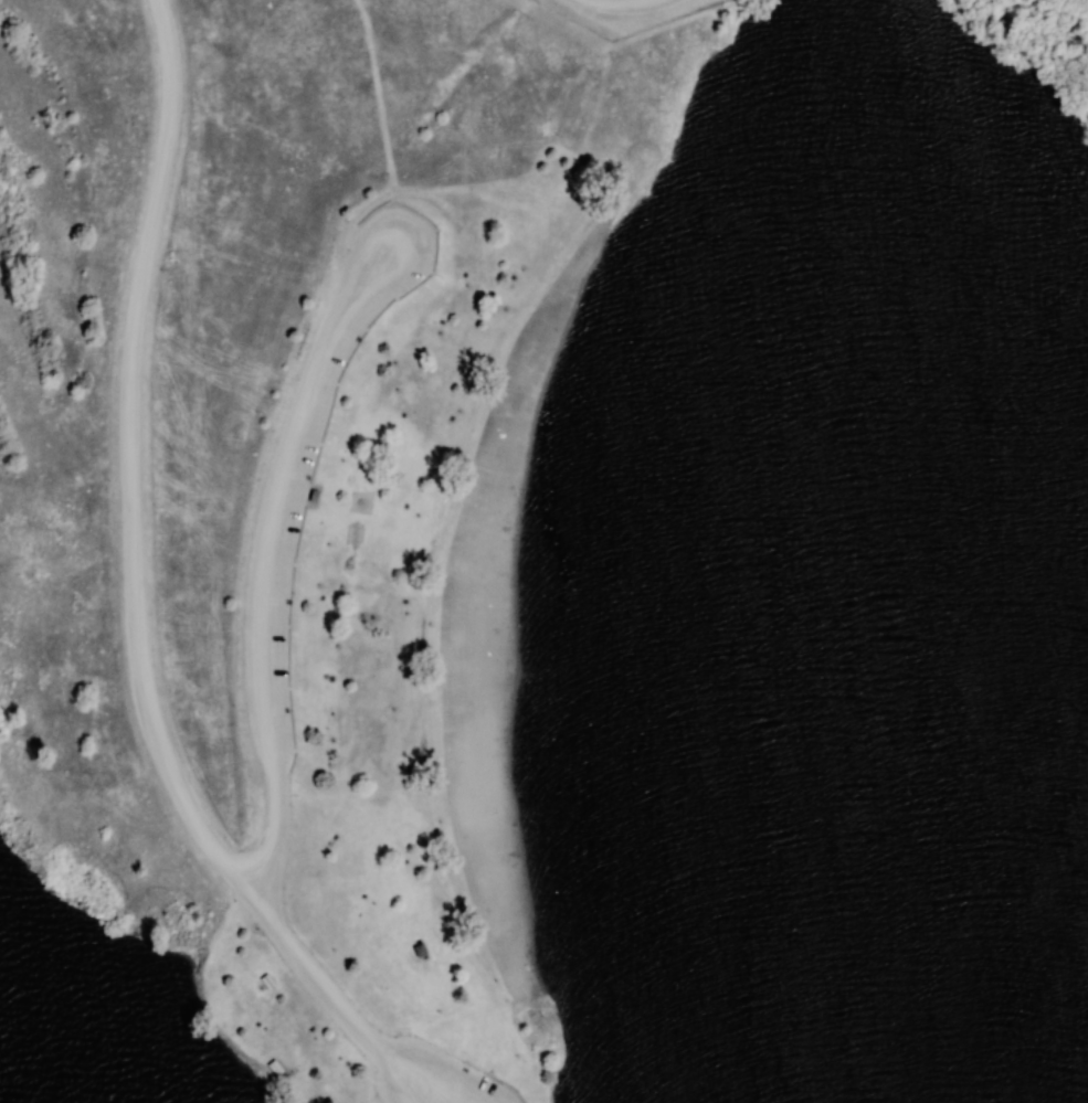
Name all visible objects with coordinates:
road: (612, 1)
park: (543, 551)
road: (271, 562)
road: (133, 596)

